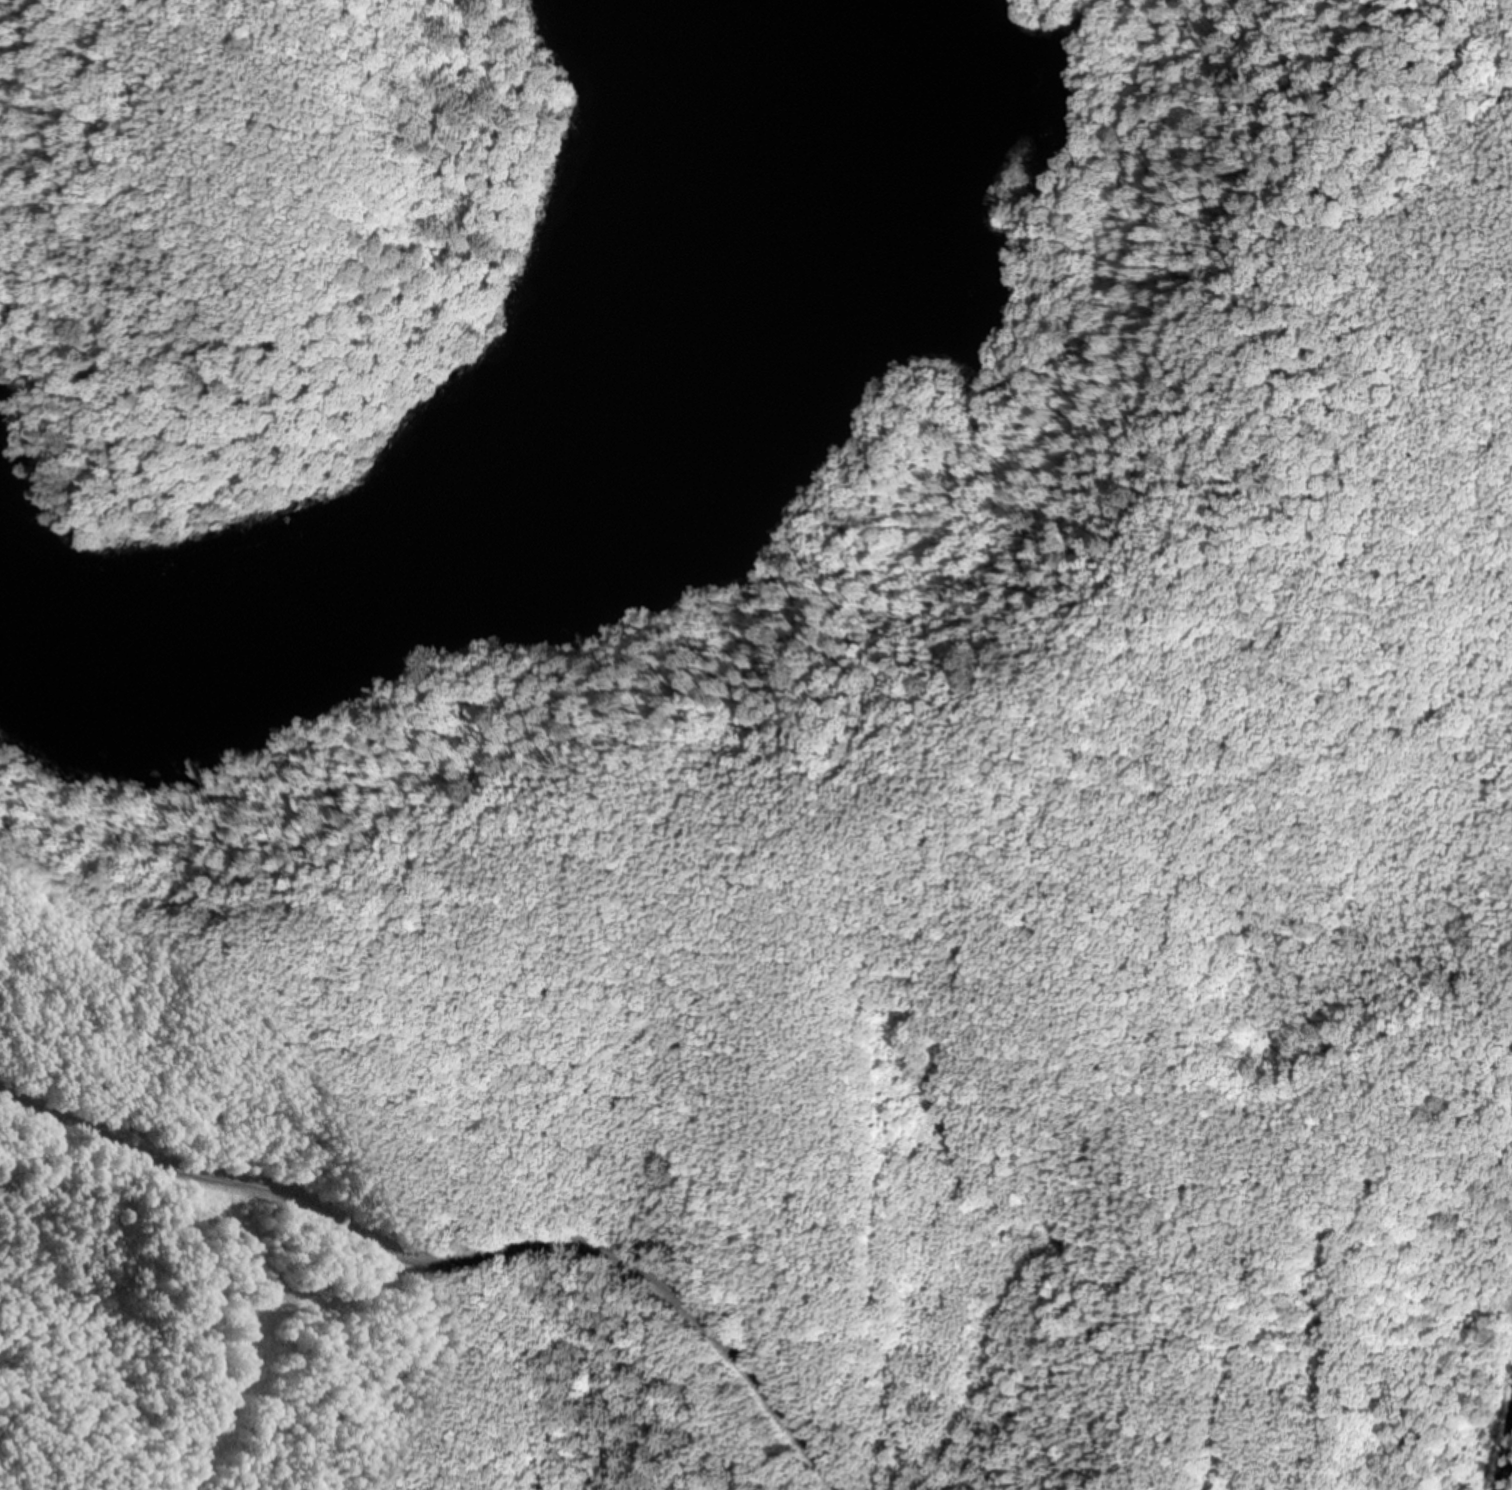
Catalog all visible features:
quarry: (676, 1136)
road: (457, 1258)
road: (1503, 1428)

